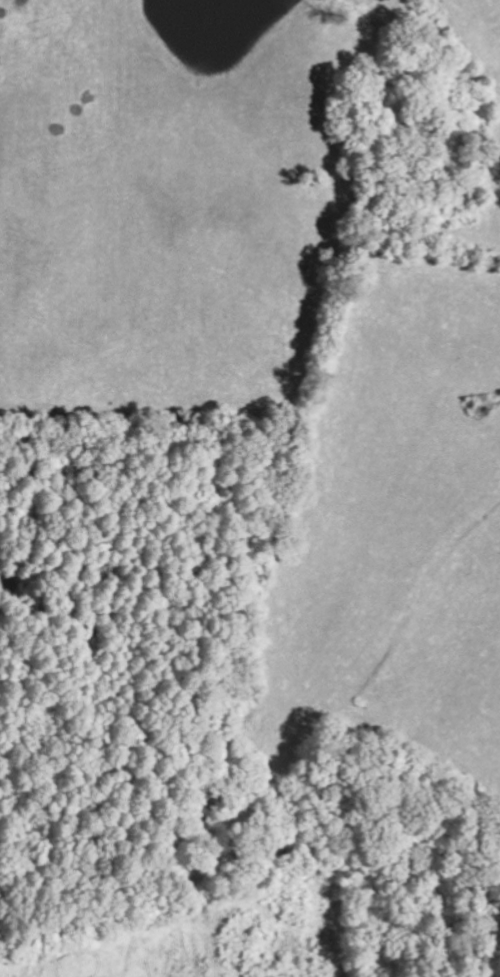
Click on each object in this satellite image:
building: (1, 571)

